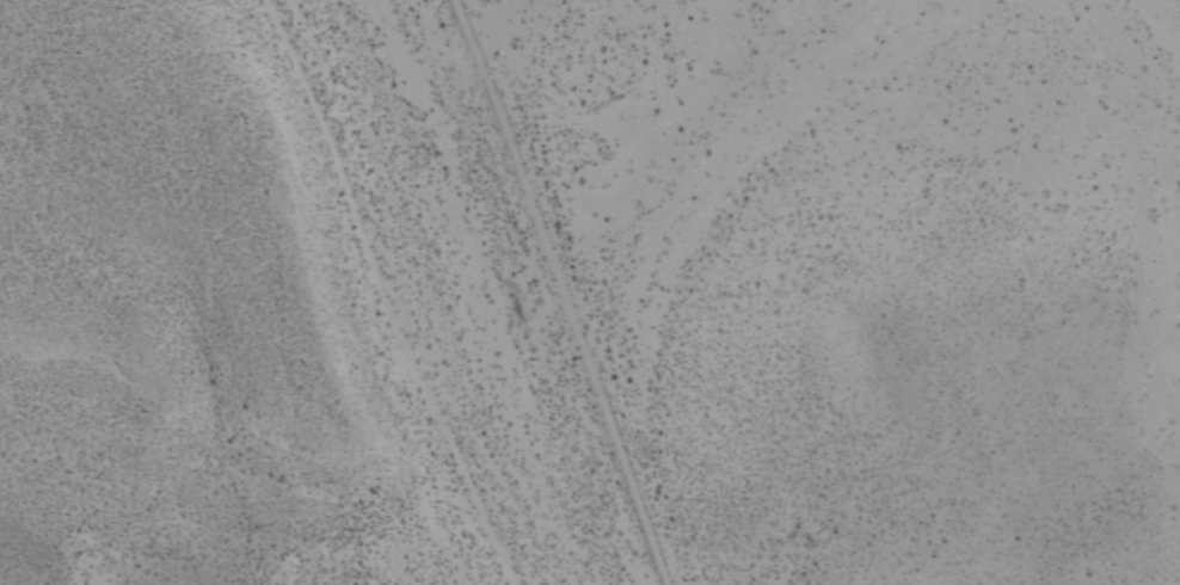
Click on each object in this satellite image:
road: (375, 295)

